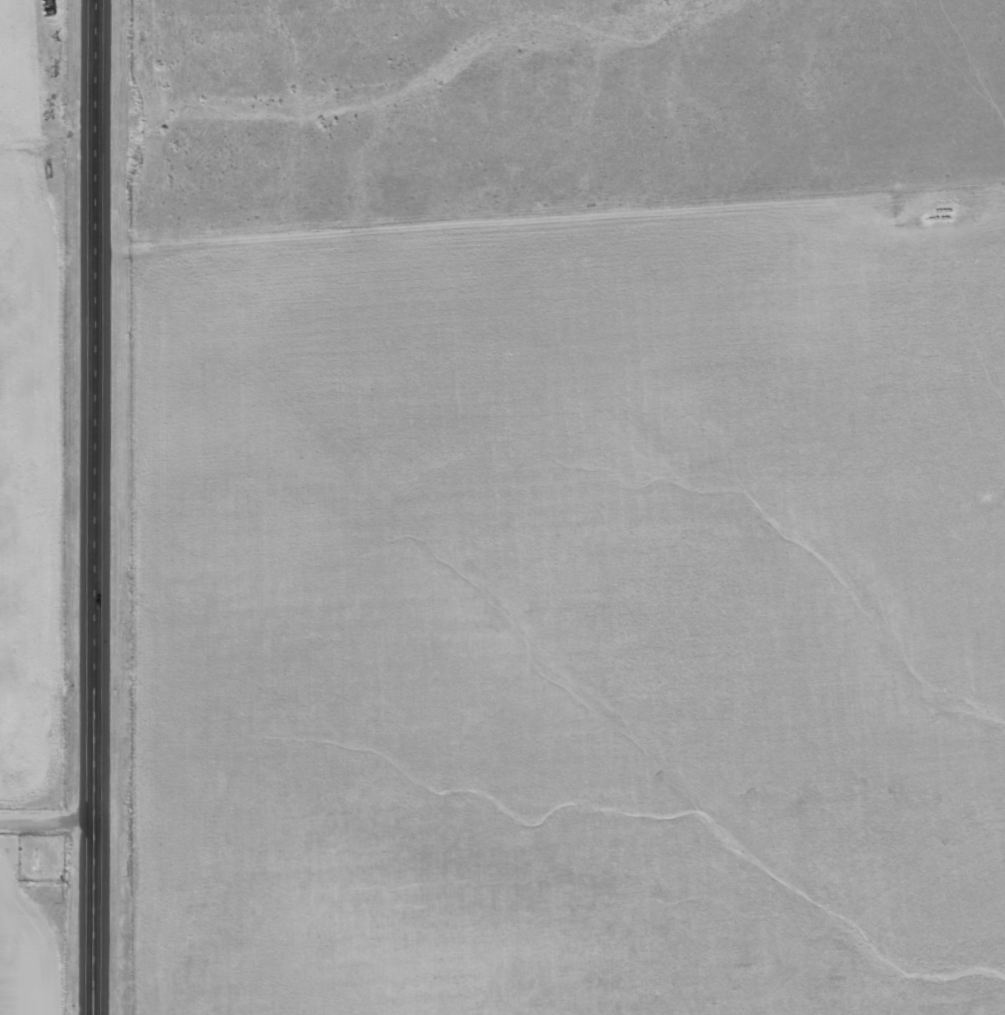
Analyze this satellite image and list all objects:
road: (99, 507)
road: (48, 819)

